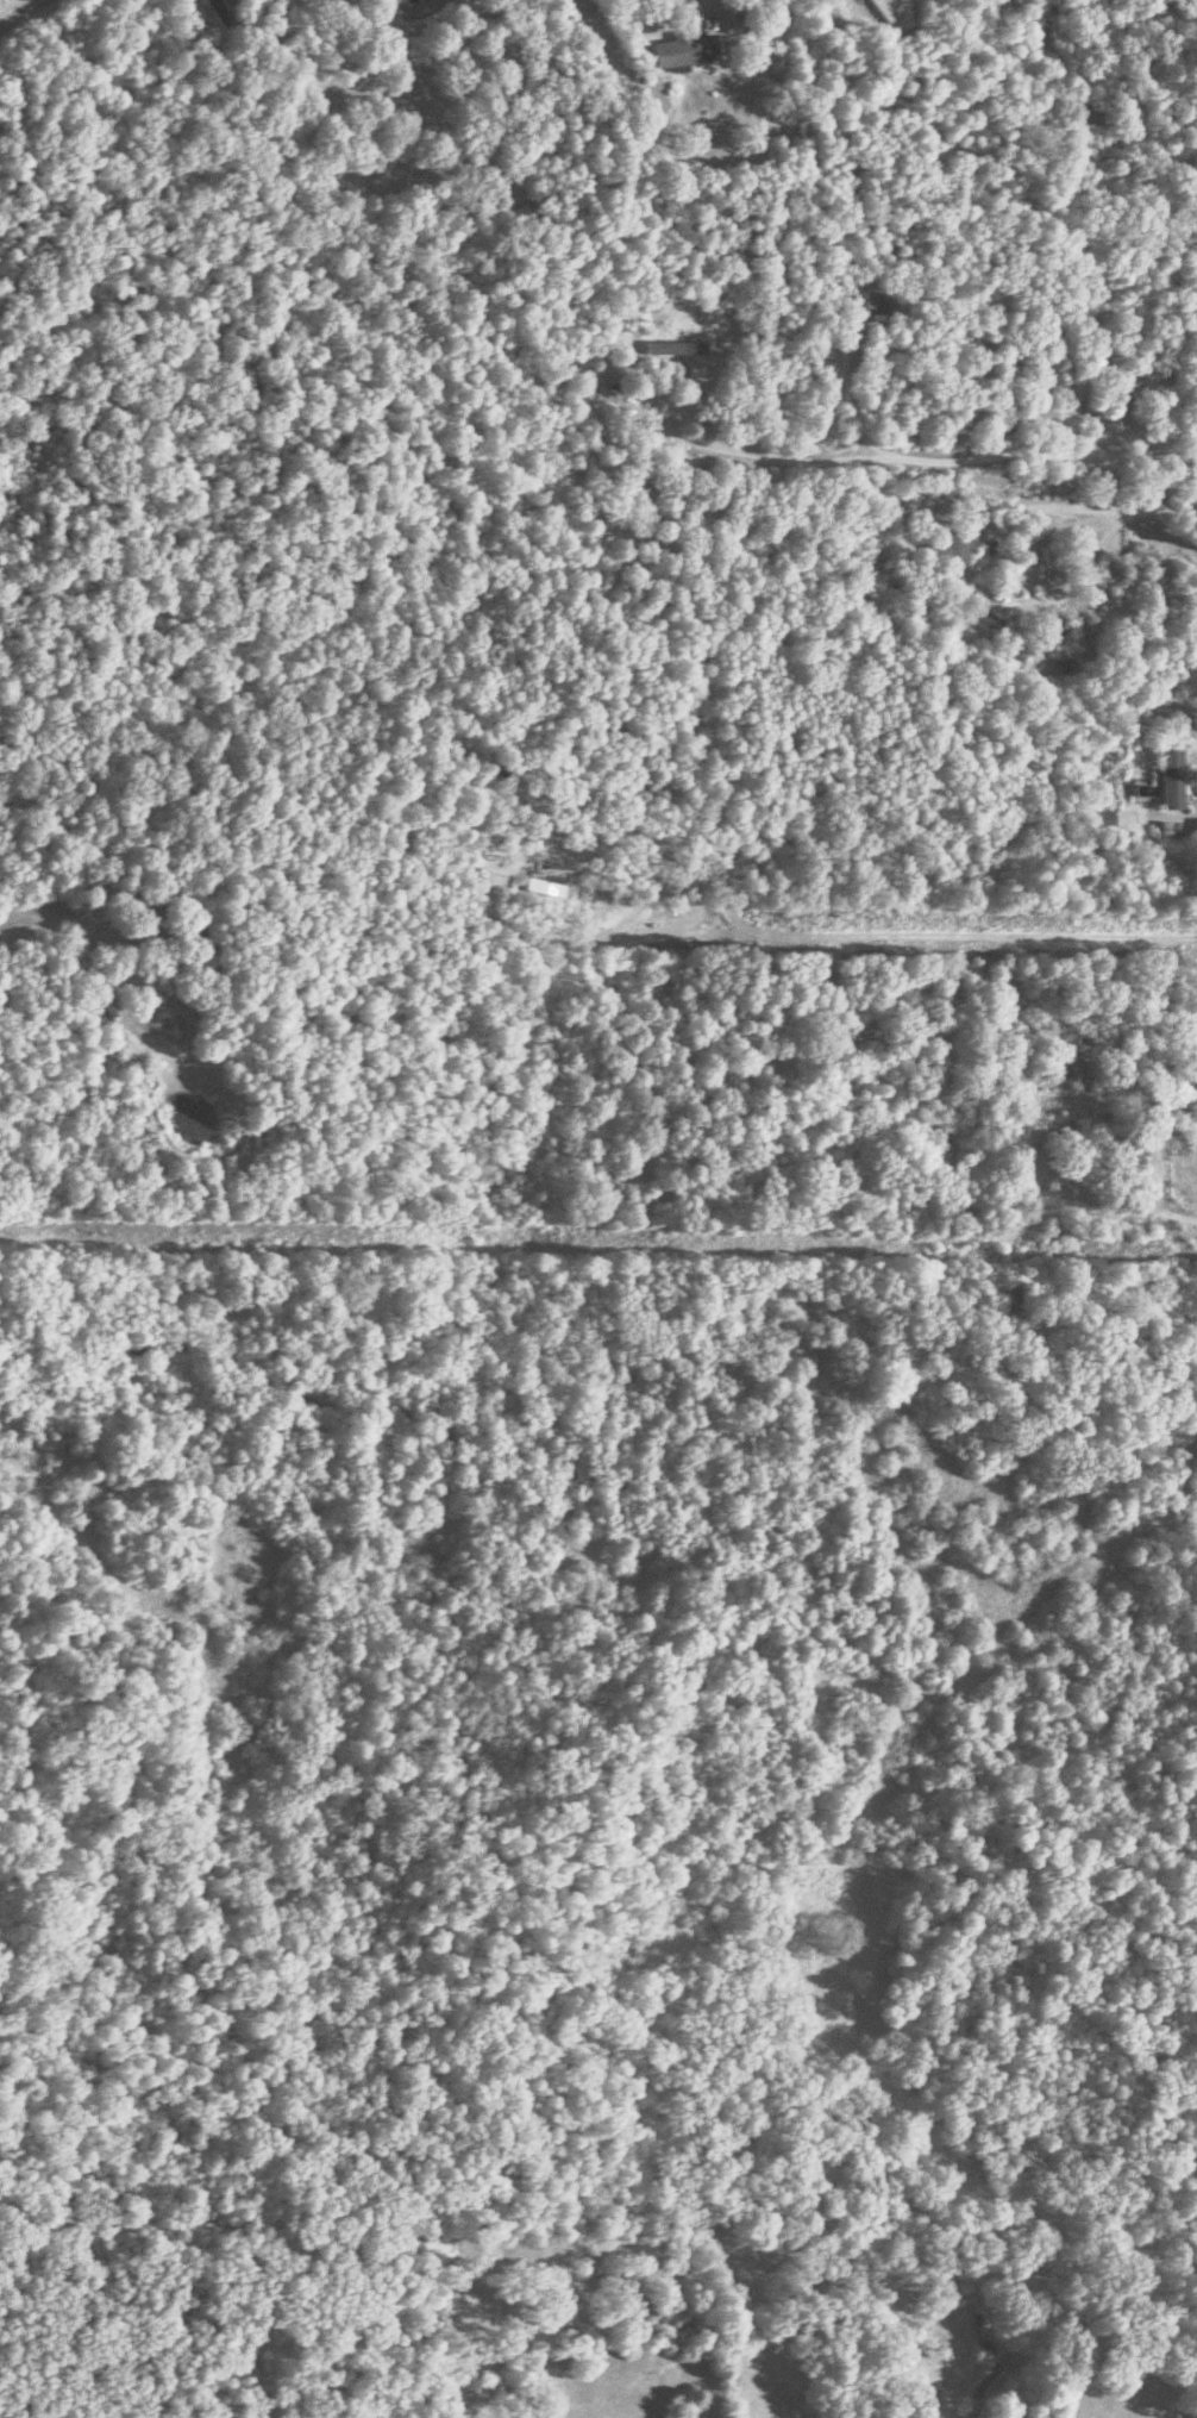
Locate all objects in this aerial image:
road: (701, 7)
road: (19, 13)
building: (685, 51)
building: (877, 305)
building: (1046, 385)
building: (1121, 387)
road: (844, 404)
road: (915, 457)
road: (1085, 517)
building: (950, 550)
building: (1168, 781)
building: (1196, 830)
building: (151, 908)
road: (62, 920)
building: (1064, 1060)
building: (1162, 1113)
building: (1124, 1154)
road: (1152, 1191)
road: (1051, 2285)

